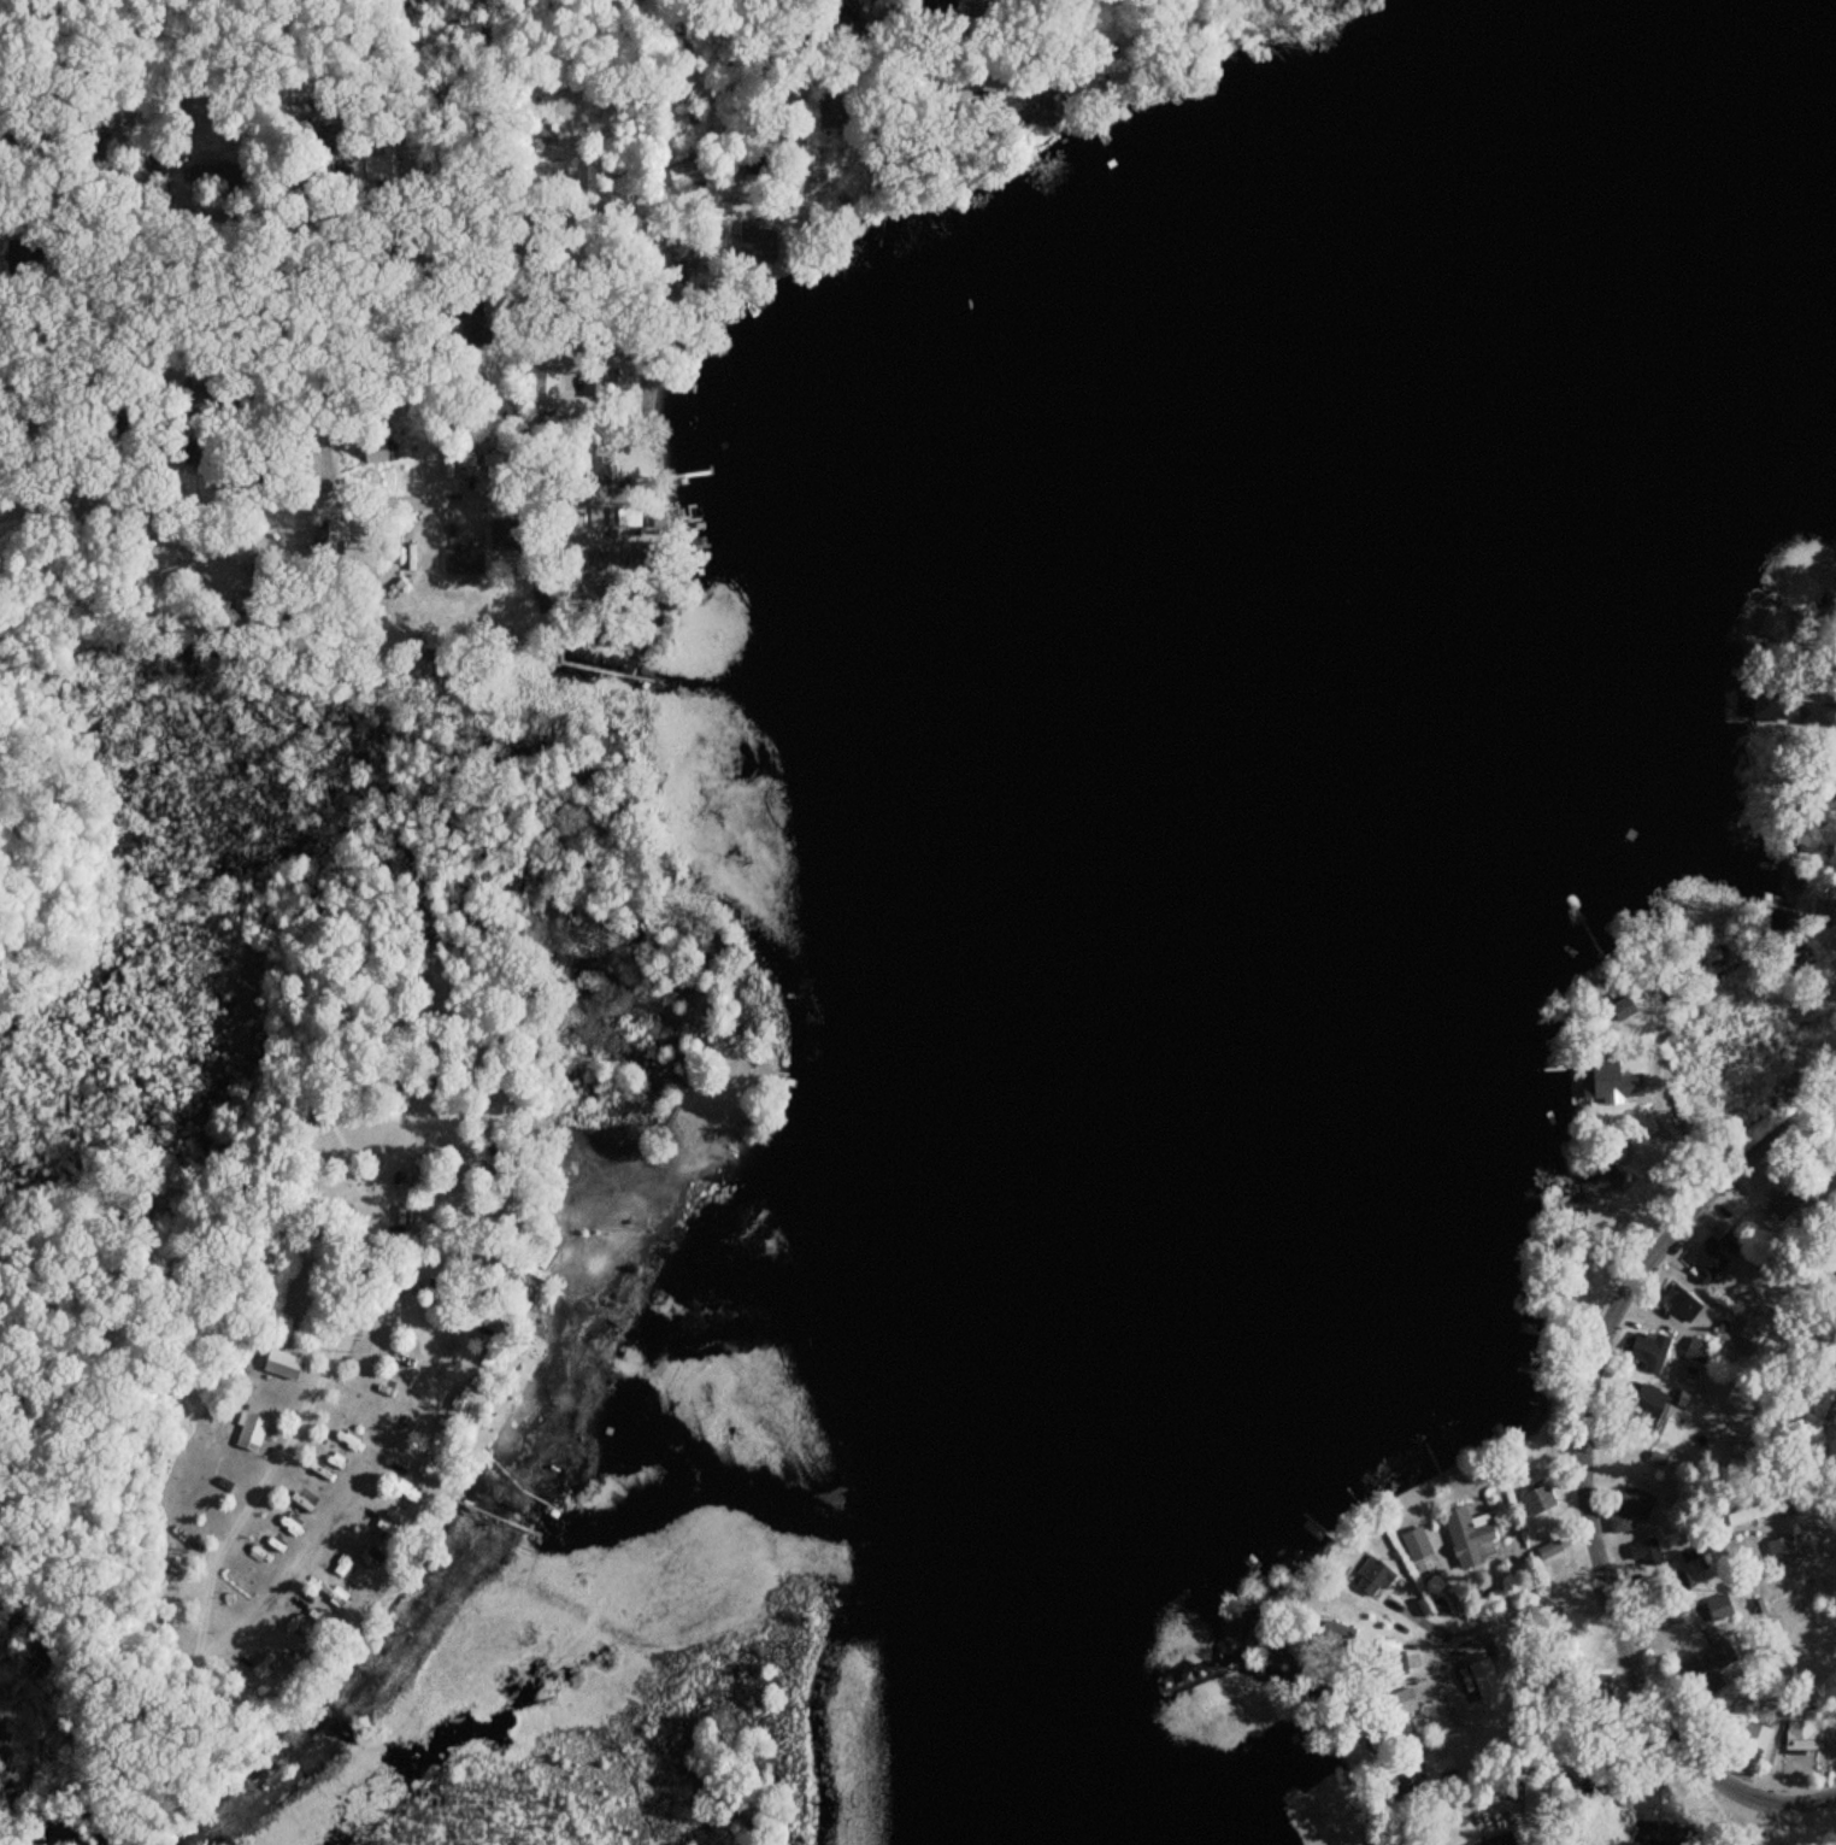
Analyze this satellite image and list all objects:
building: (829, 108)
road: (324, 183)
road: (294, 416)
road: (323, 472)
building: (507, 535)
building: (1773, 625)
road: (335, 633)
building: (1776, 707)
building: (1611, 1079)
road: (1648, 1088)
building: (1785, 1205)
road: (413, 1317)
building: (1696, 1351)
building: (282, 1365)
building: (458, 1400)
building: (251, 1434)
road: (1564, 1441)
road: (1791, 1444)
building: (1743, 1447)
building: (1535, 1503)
building: (1634, 1503)
building: (1470, 1541)
building: (1646, 1552)
building: (1781, 1552)
building: (1719, 1608)
road: (1424, 1612)
building: (1706, 1664)
building: (1800, 1735)
building: (1755, 1739)
road: (118, 1755)

